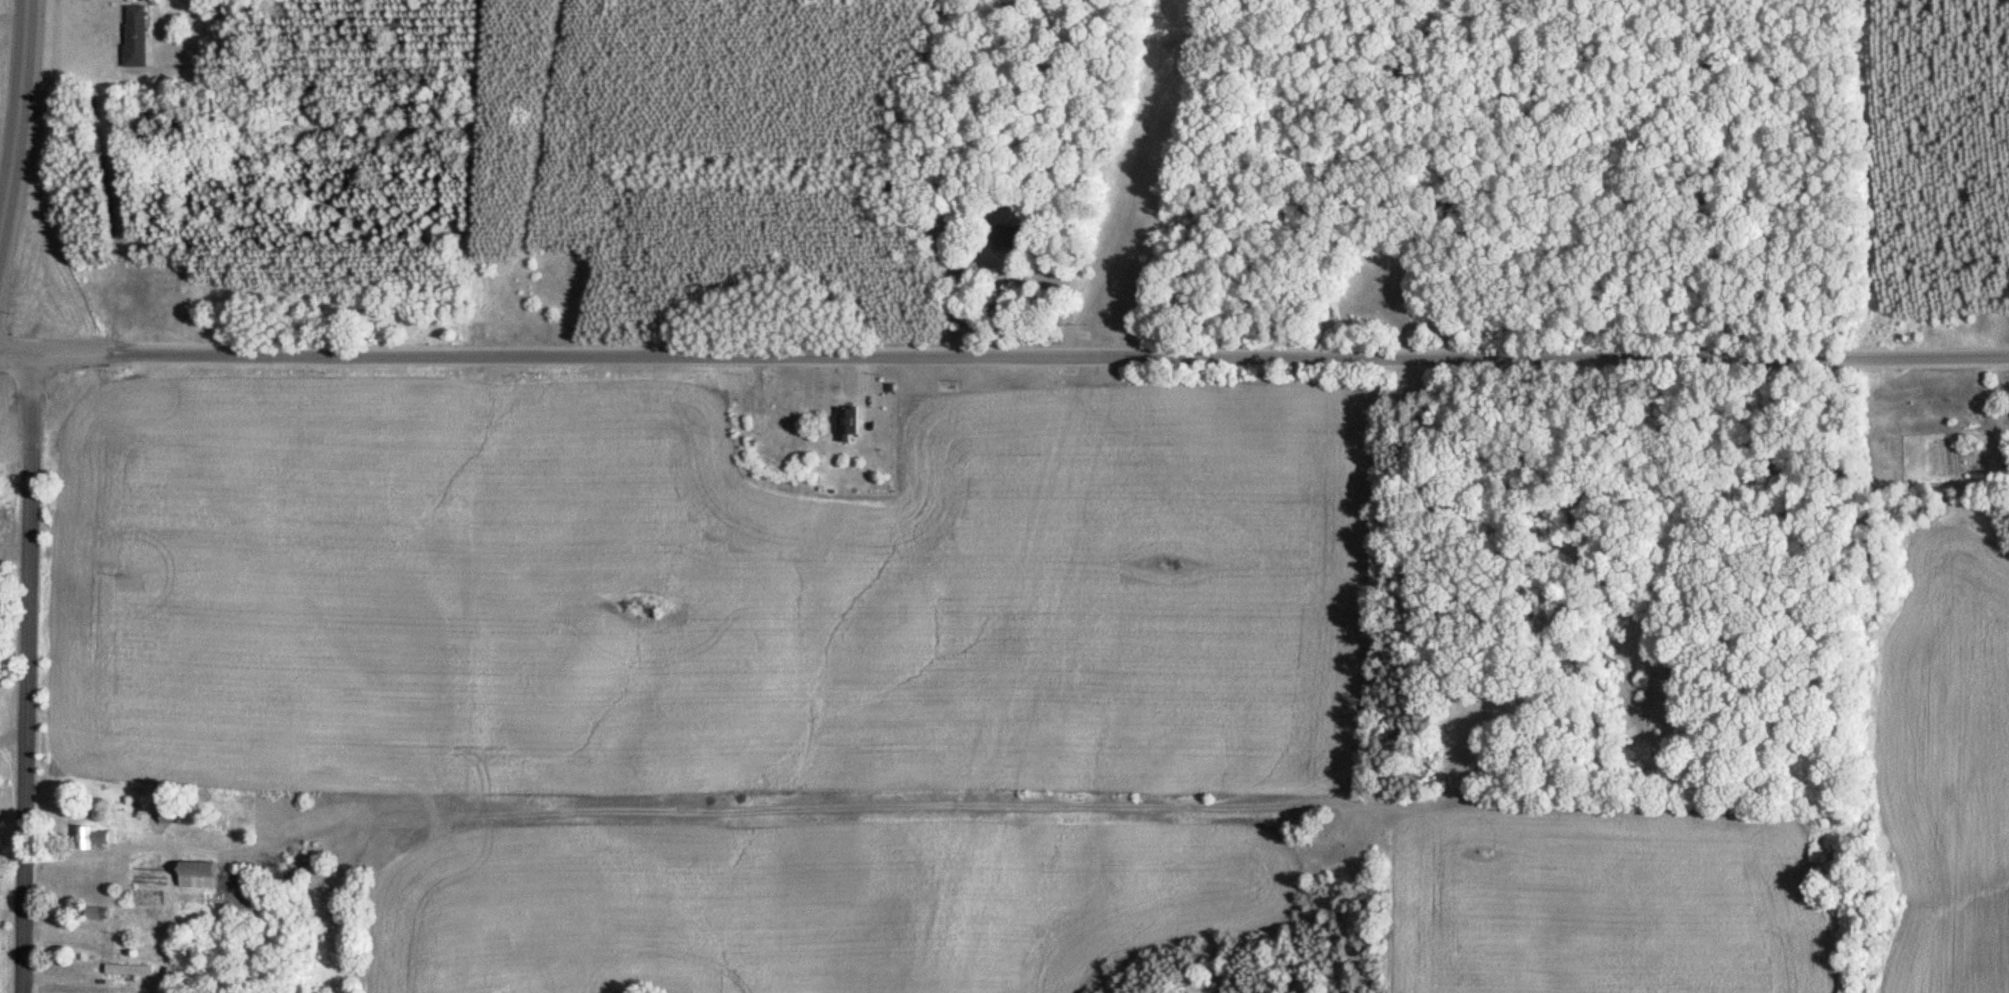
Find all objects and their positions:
building: (139, 37)
road: (18, 118)
building: (1017, 240)
road: (1004, 356)
building: (783, 419)
building: (850, 424)
road: (1414, 514)
road: (1700, 605)
road: (29, 673)
building: (98, 837)
building: (102, 913)
building: (132, 970)

